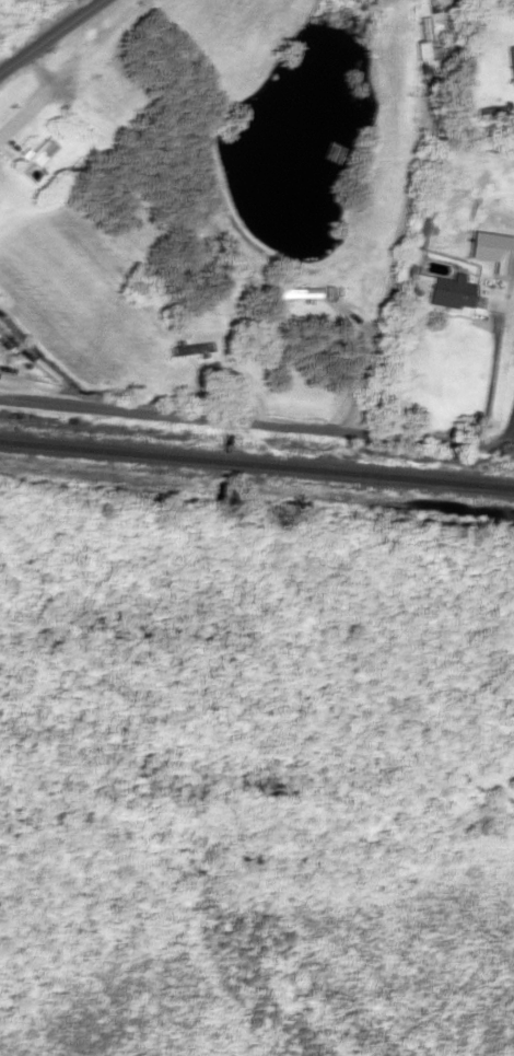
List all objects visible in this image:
road: (49, 35)
building: (424, 40)
building: (510, 63)
building: (107, 94)
building: (489, 112)
building: (34, 154)
building: (418, 232)
building: (452, 291)
building: (297, 292)
building: (189, 348)
road: (257, 417)
railway: (257, 459)

